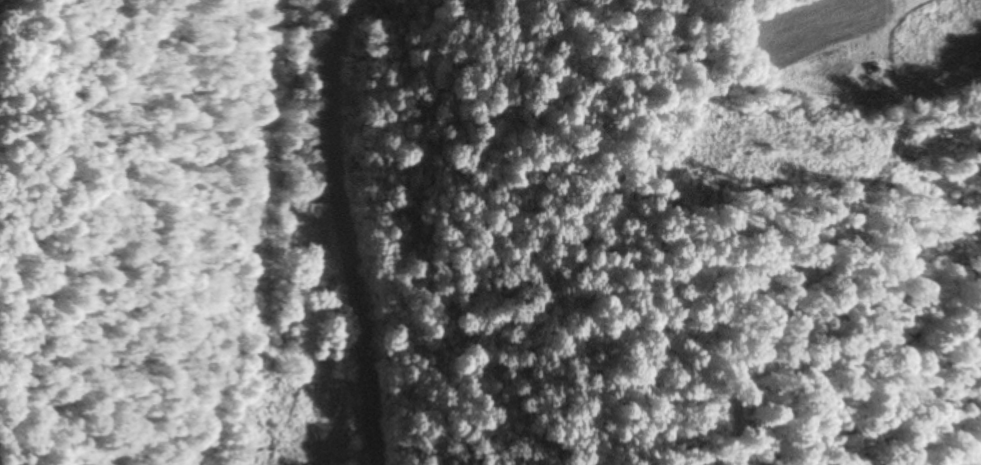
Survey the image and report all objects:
road: (341, 231)

